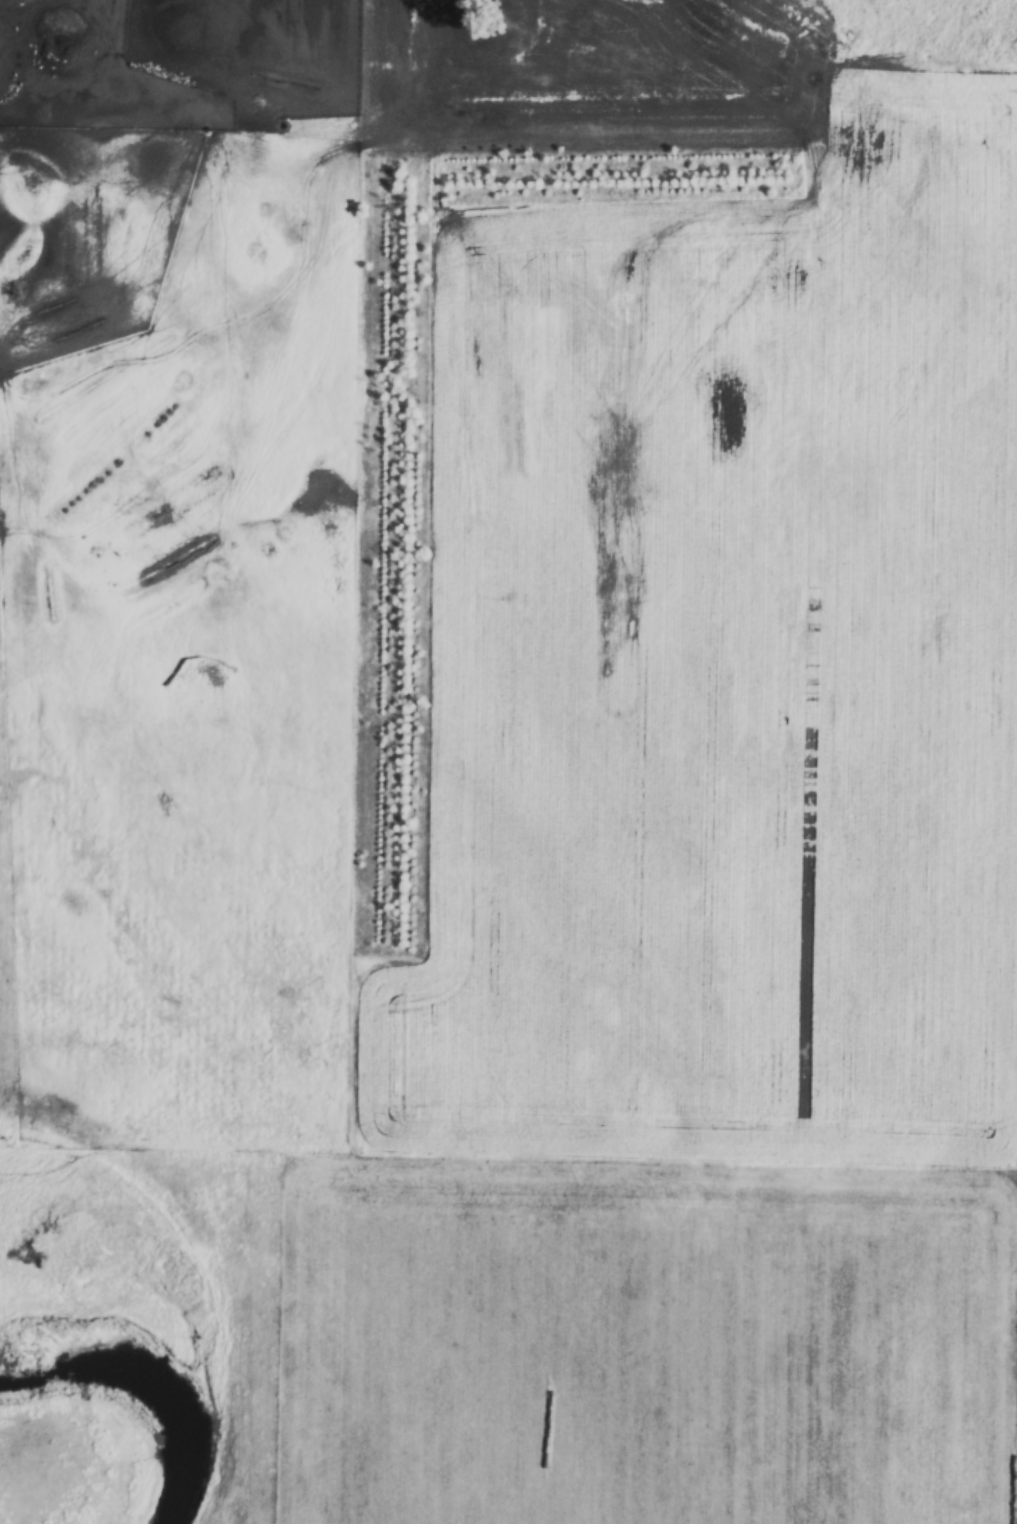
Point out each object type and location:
crop: (647, 1346)
river: (141, 1387)

